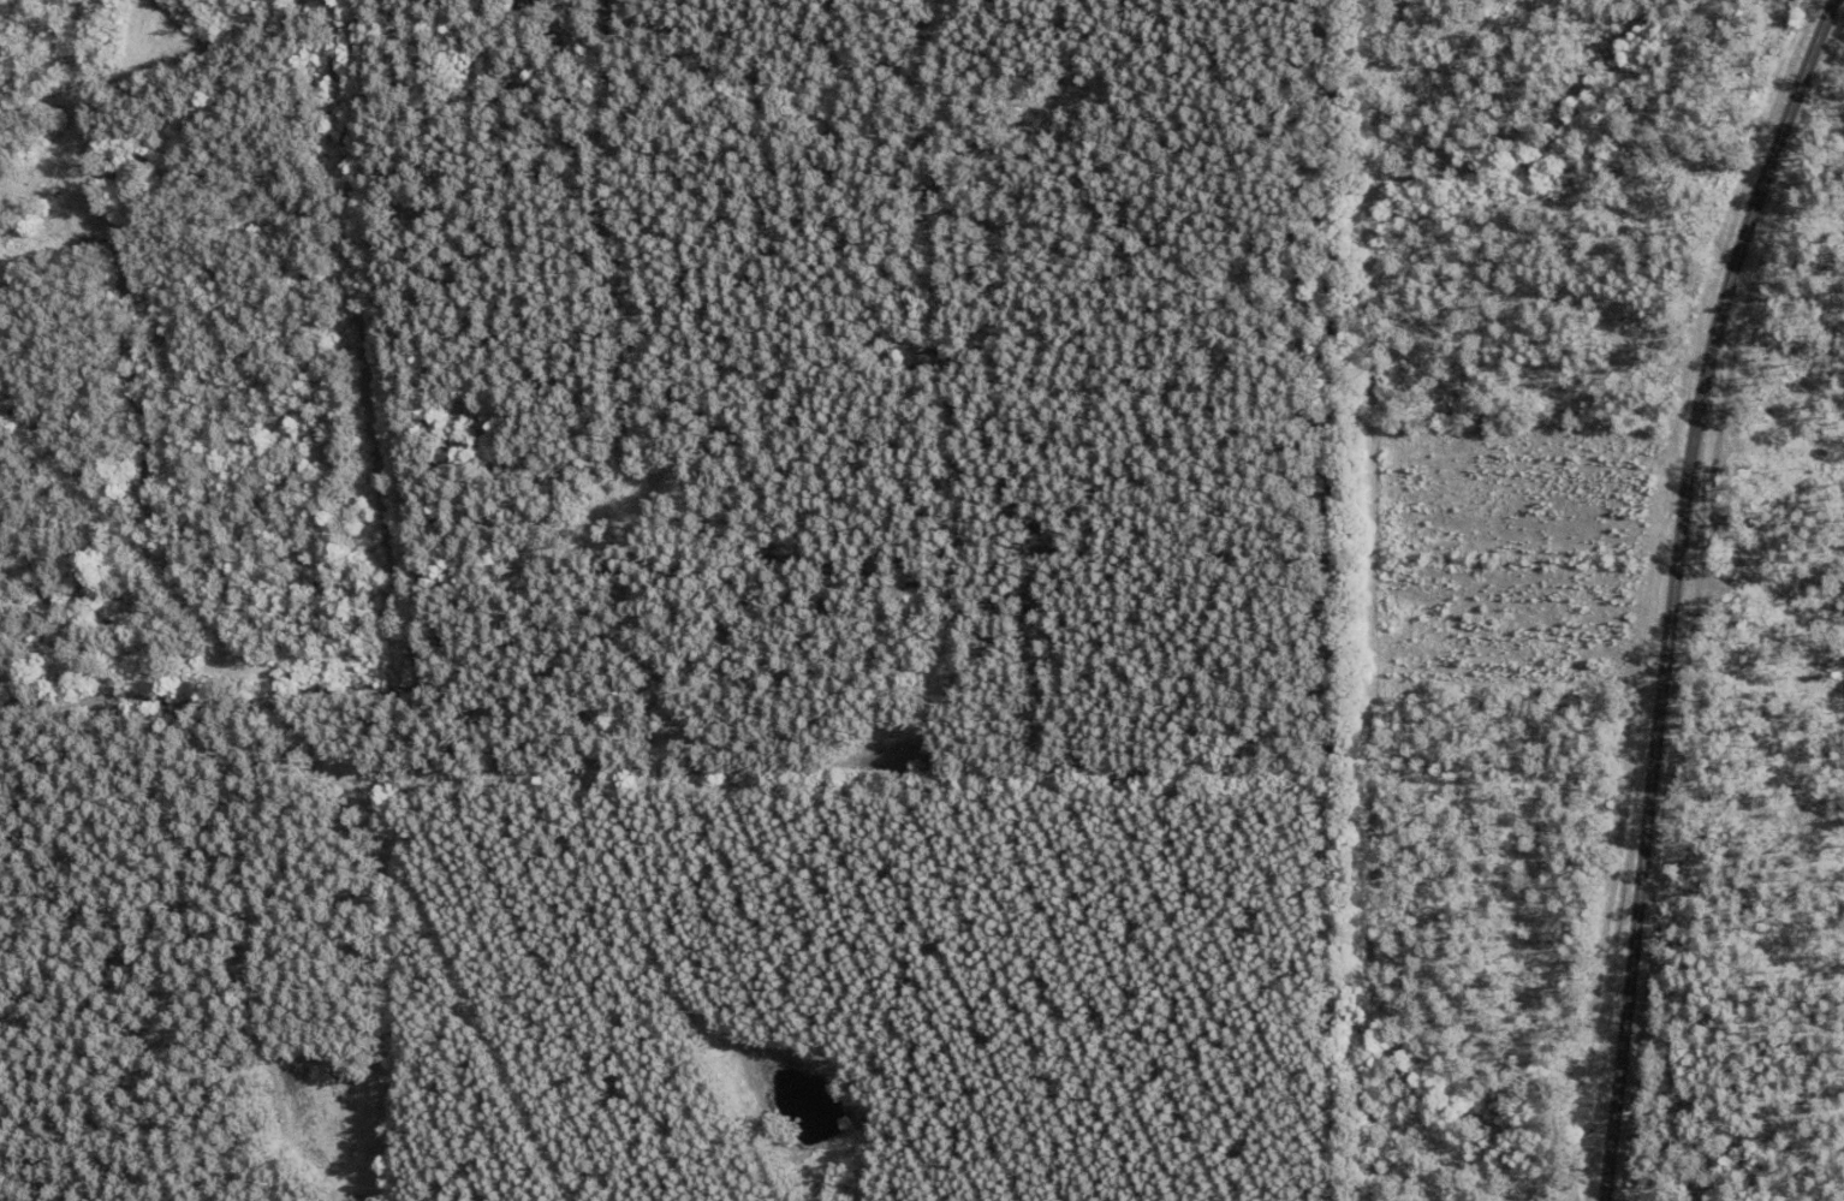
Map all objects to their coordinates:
road: (1666, 589)

